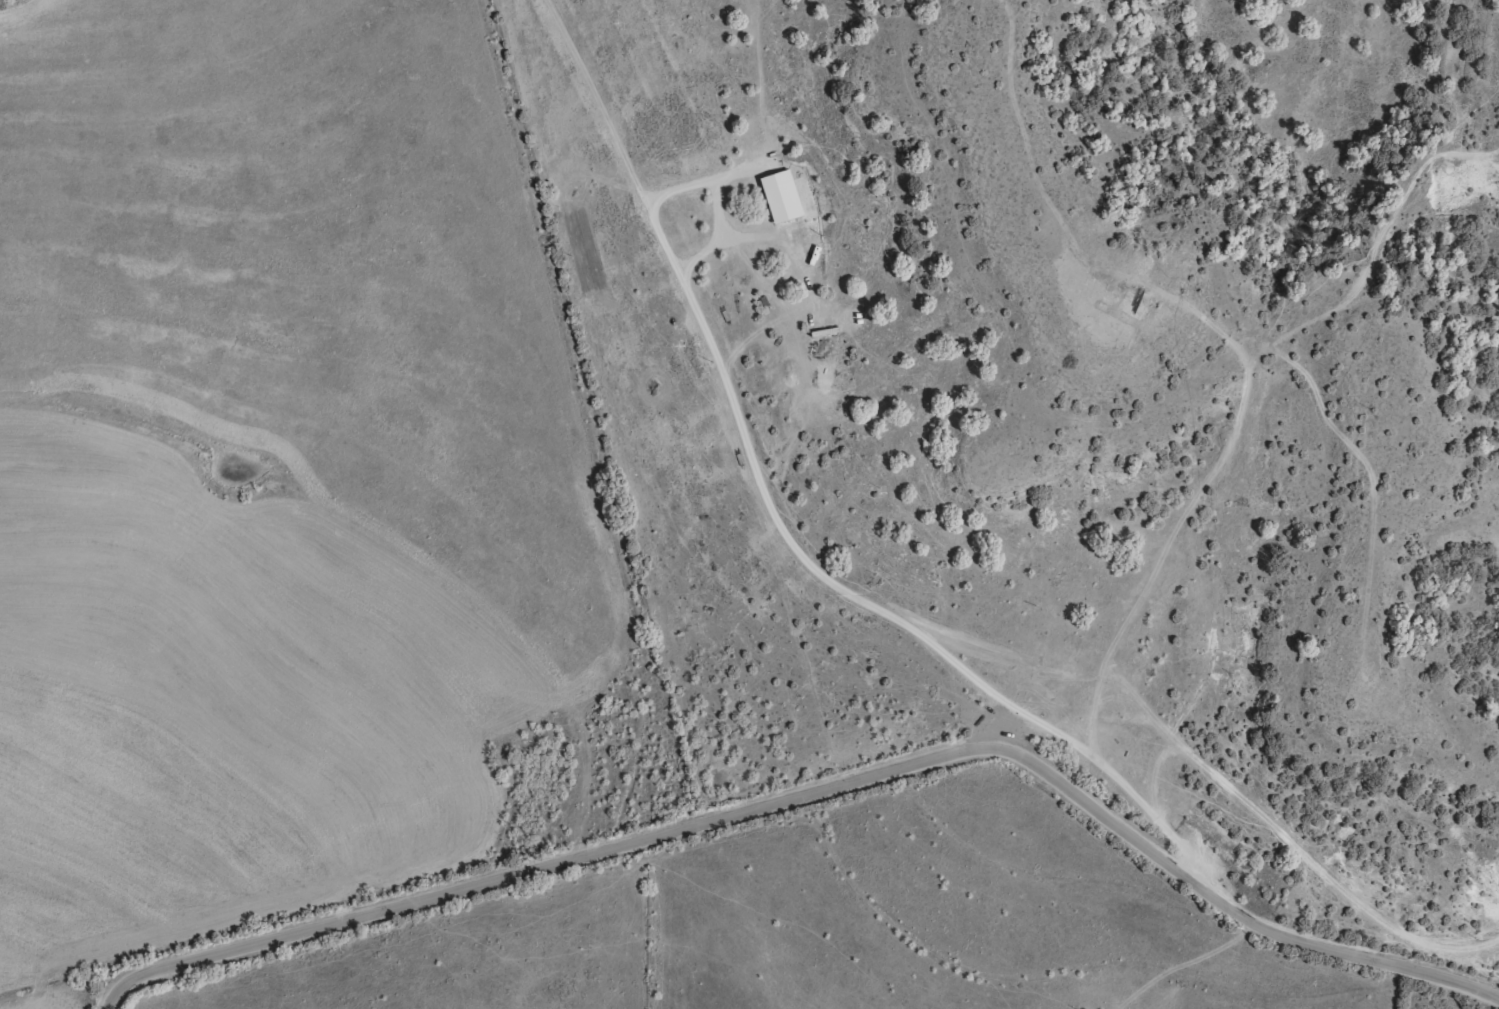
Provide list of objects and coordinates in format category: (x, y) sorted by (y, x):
road: (696, 189)
building: (779, 204)
road: (863, 606)
road: (822, 793)

